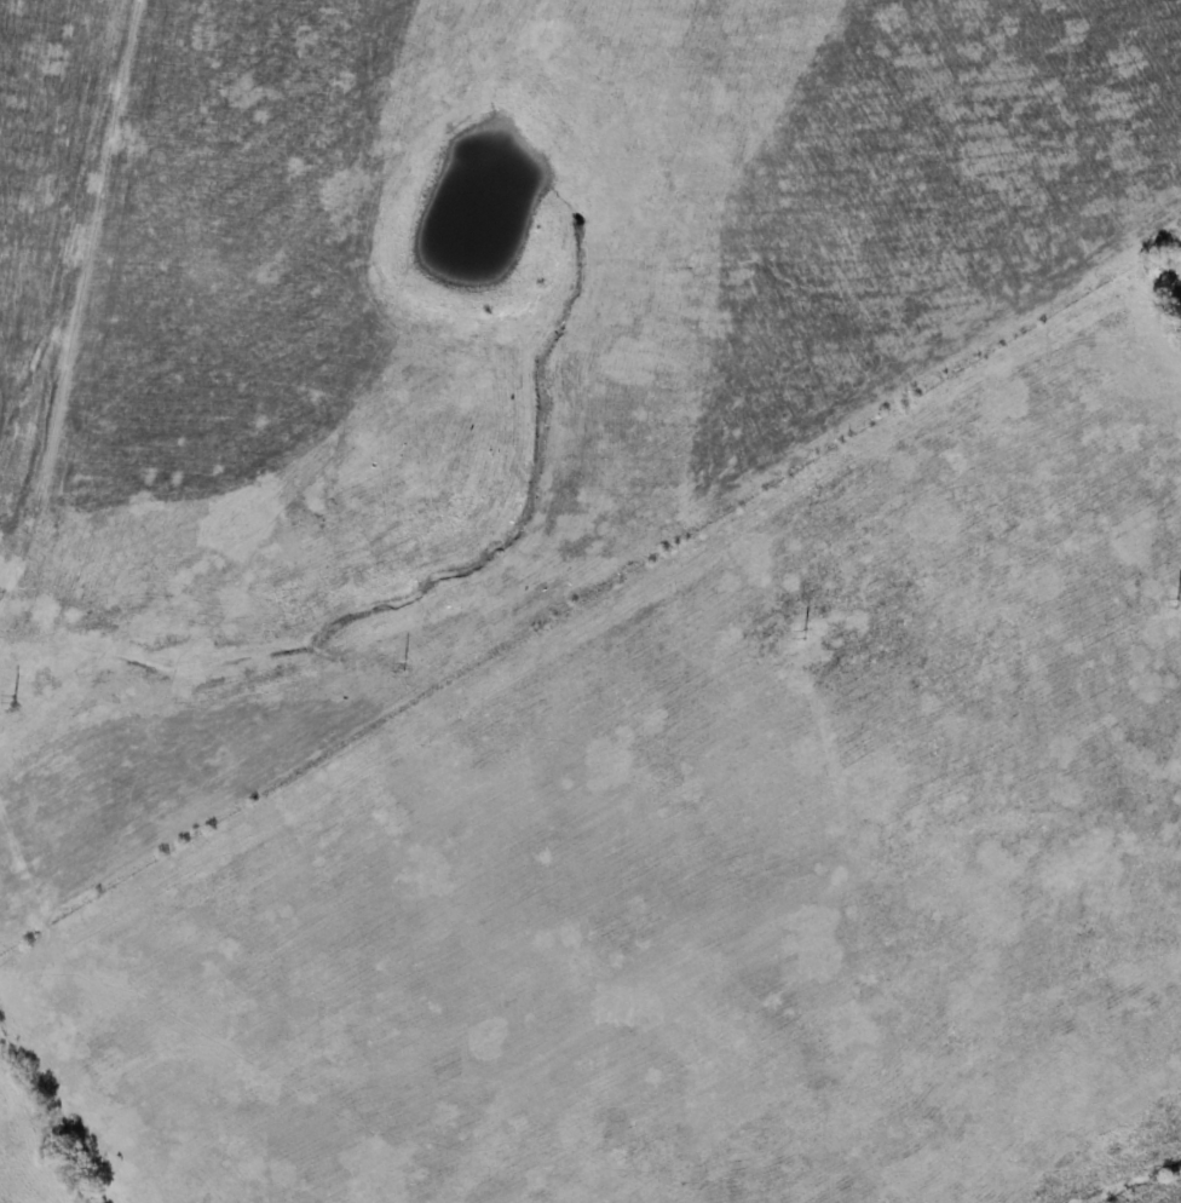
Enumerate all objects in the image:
road: (96, 265)
power tower: (1177, 600)
power tower: (803, 633)
power tower: (405, 664)
power tower: (12, 700)
road: (56, 1112)

